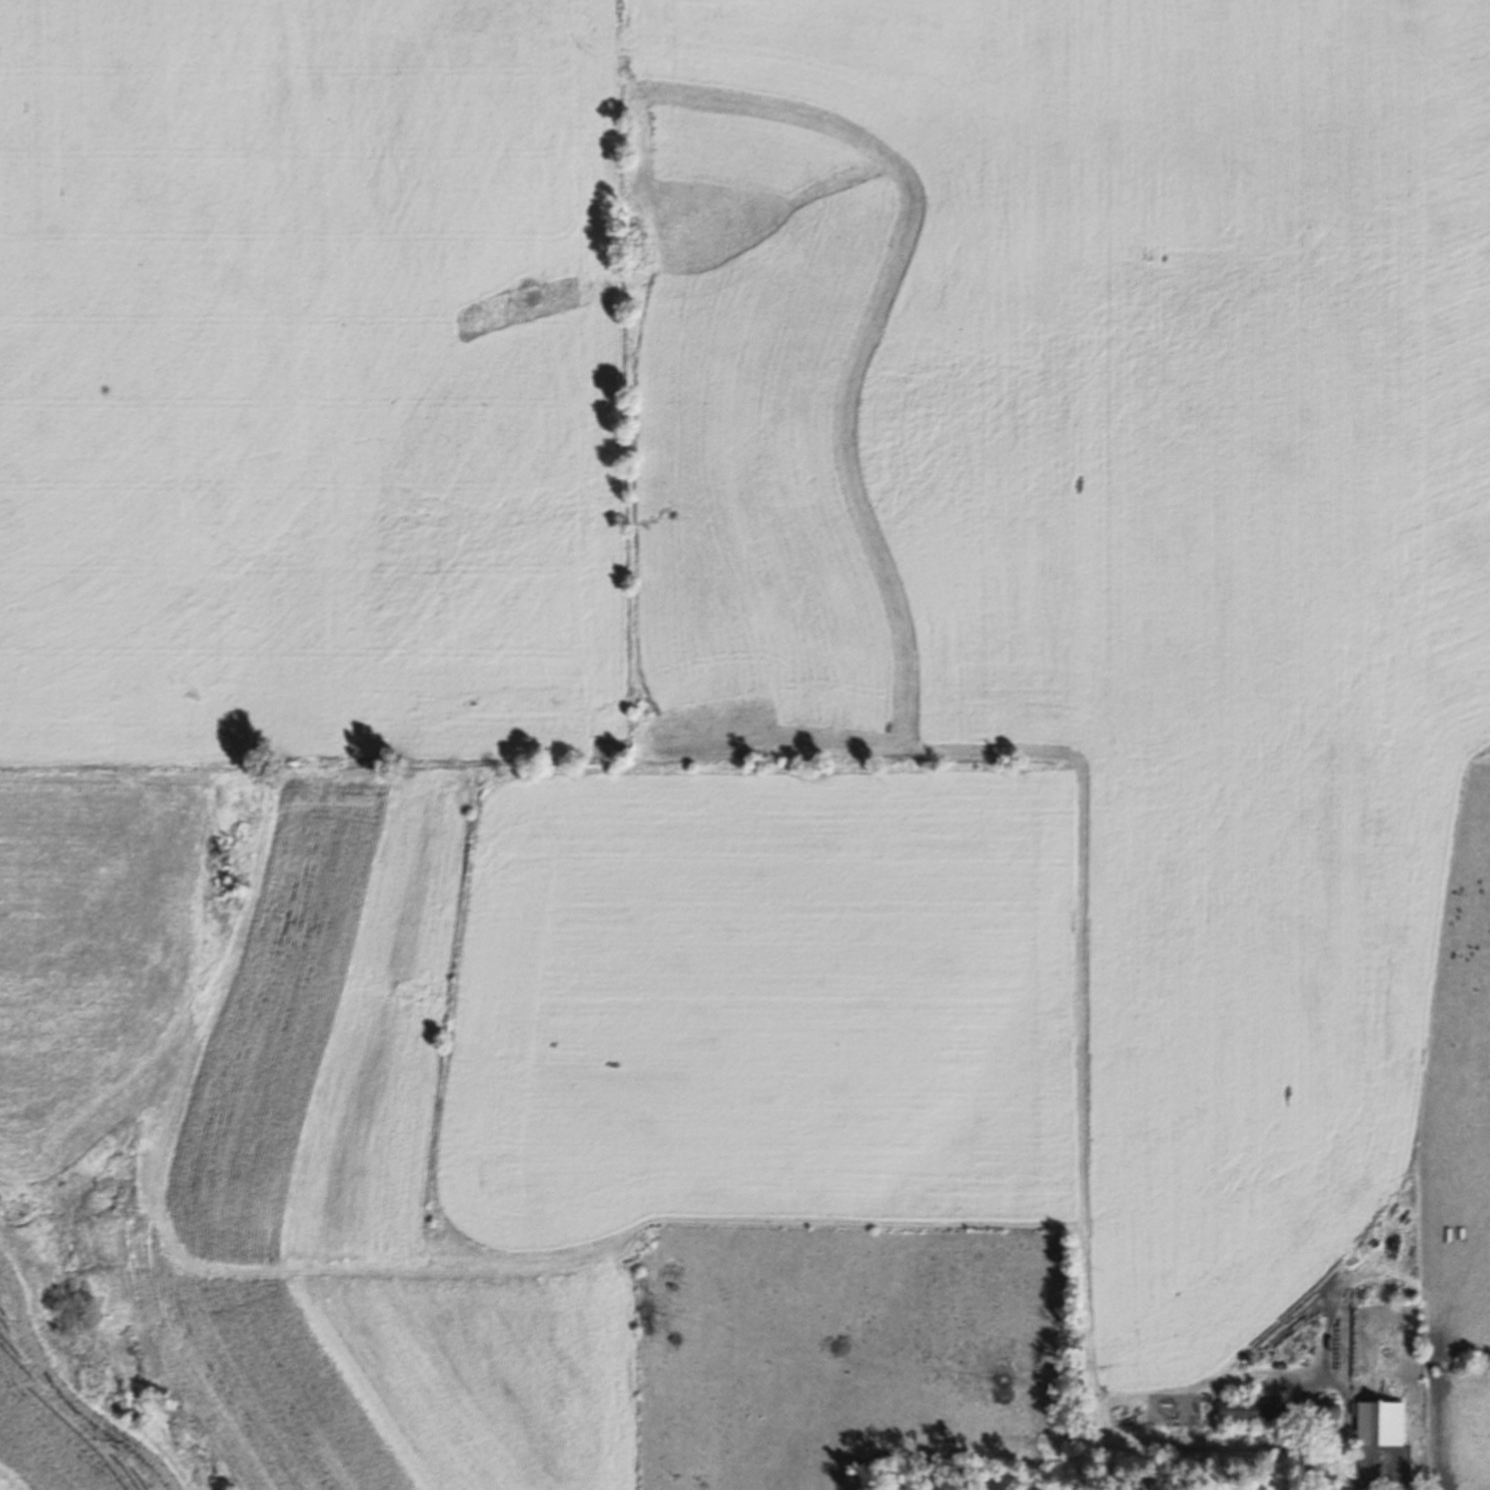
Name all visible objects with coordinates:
building: (1247, 1411)
building: (1327, 1411)
building: (1380, 1424)

